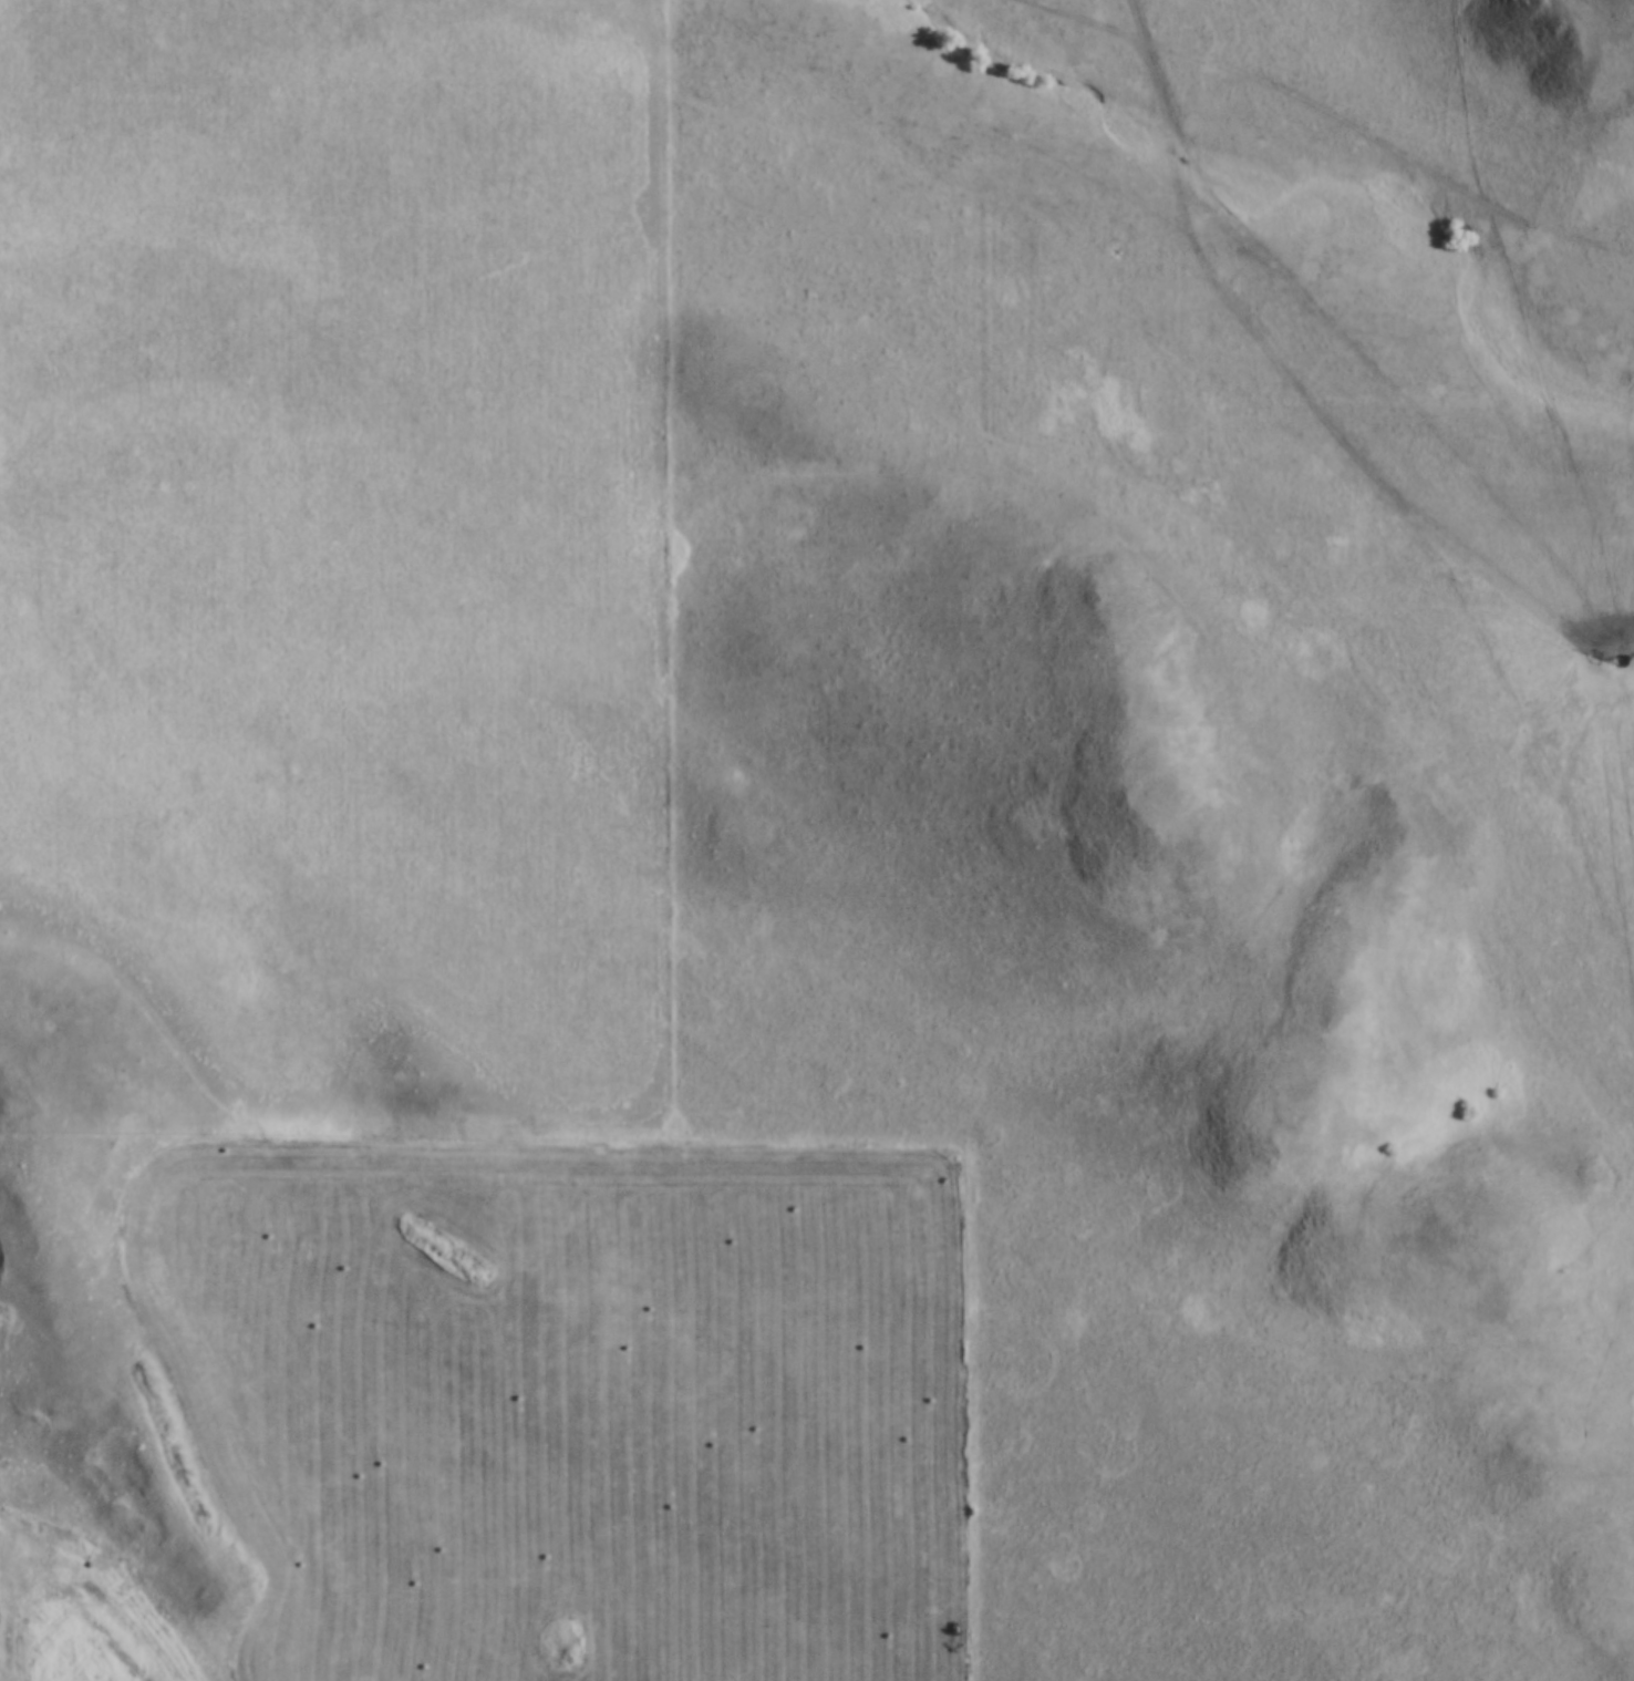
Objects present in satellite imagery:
road: (1337, 117)
road: (1606, 523)

